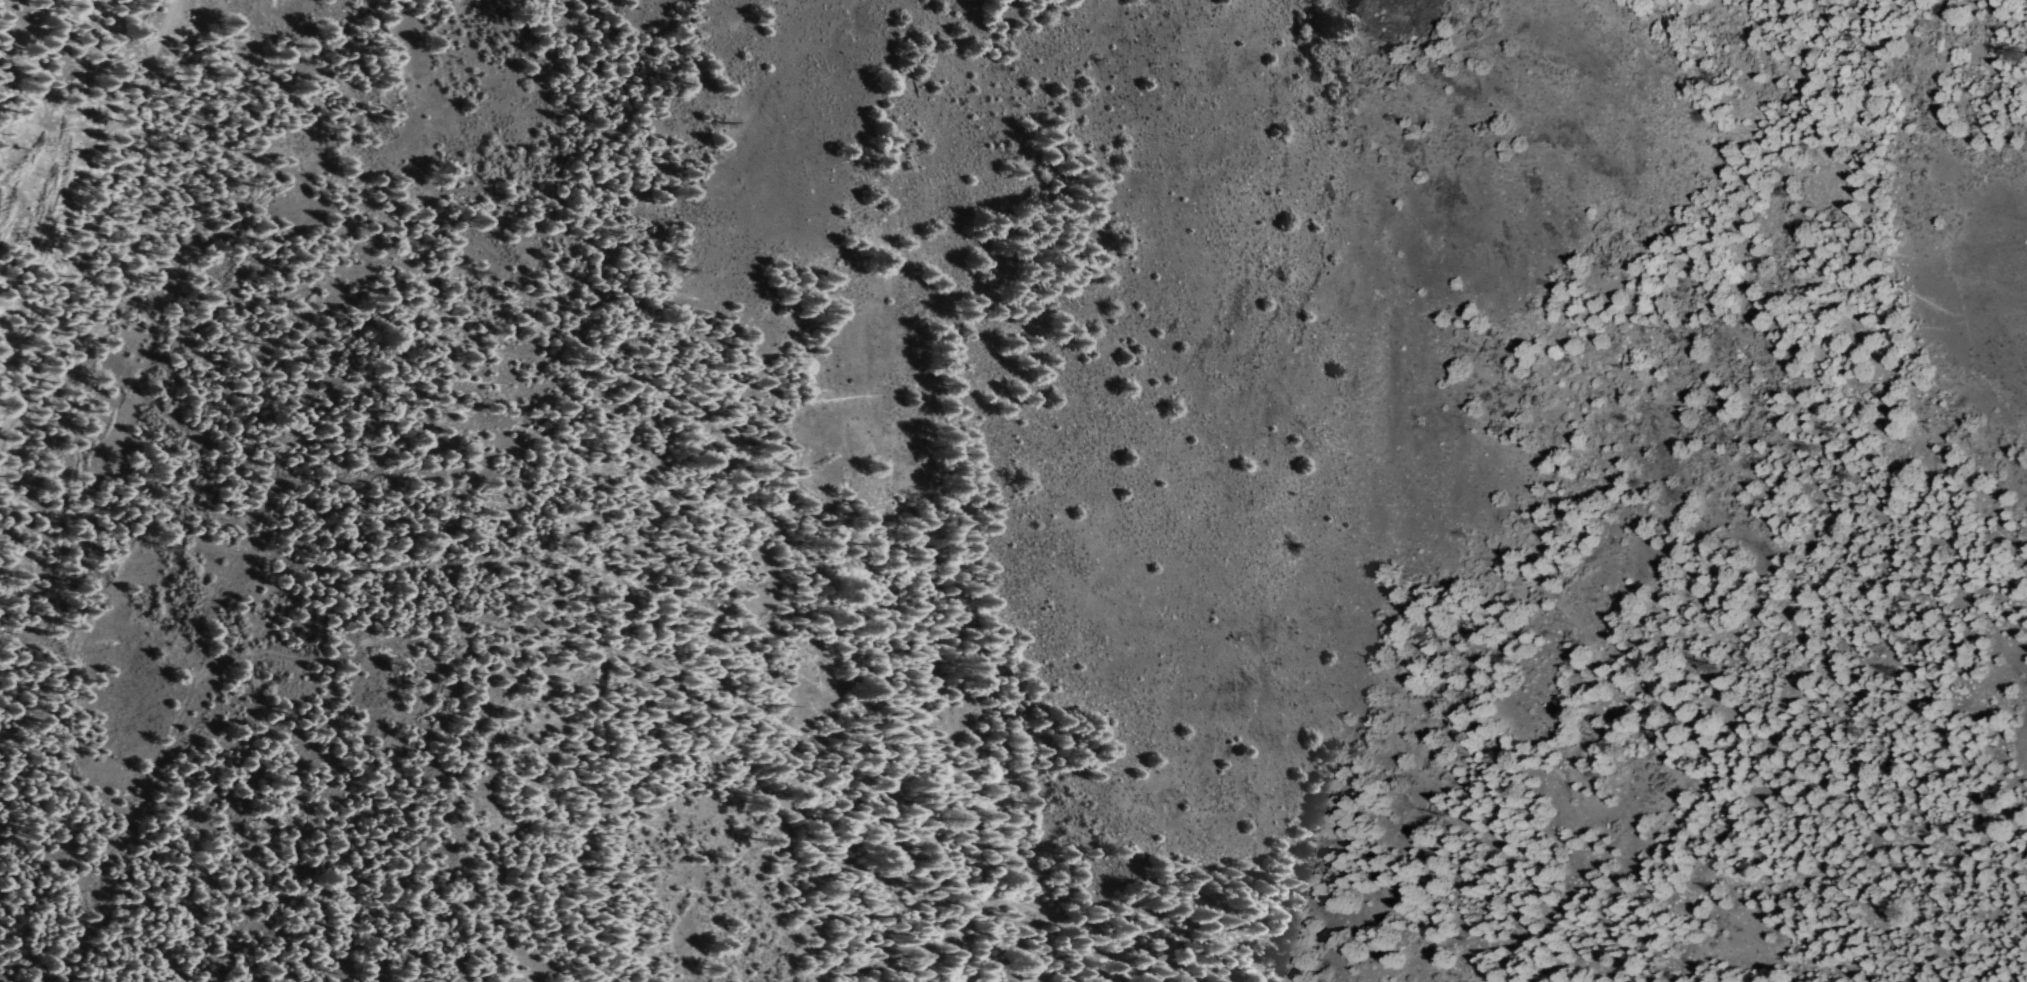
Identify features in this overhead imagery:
road: (92, 217)

